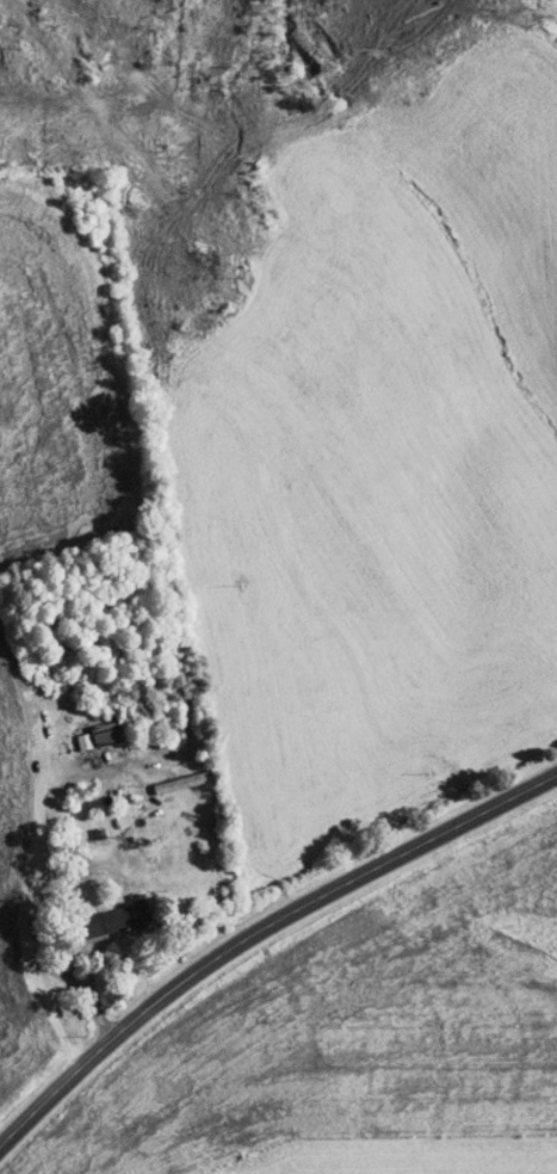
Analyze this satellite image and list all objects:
building: (94, 735)
road: (52, 890)
building: (106, 920)
road: (259, 932)
road: (100, 984)

